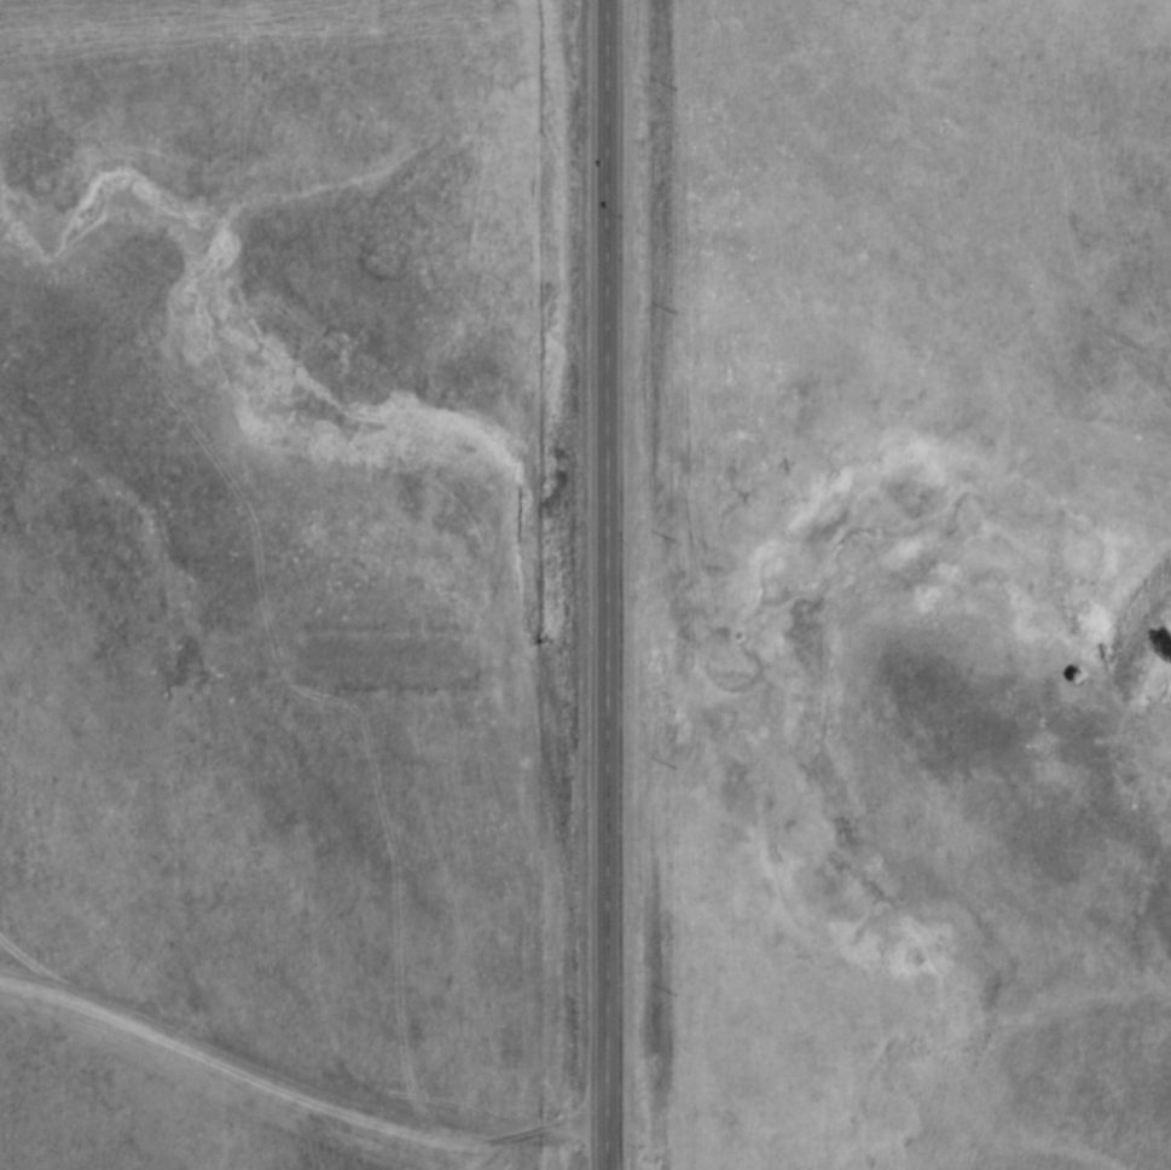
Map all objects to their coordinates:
road: (607, 585)
road: (295, 1070)

